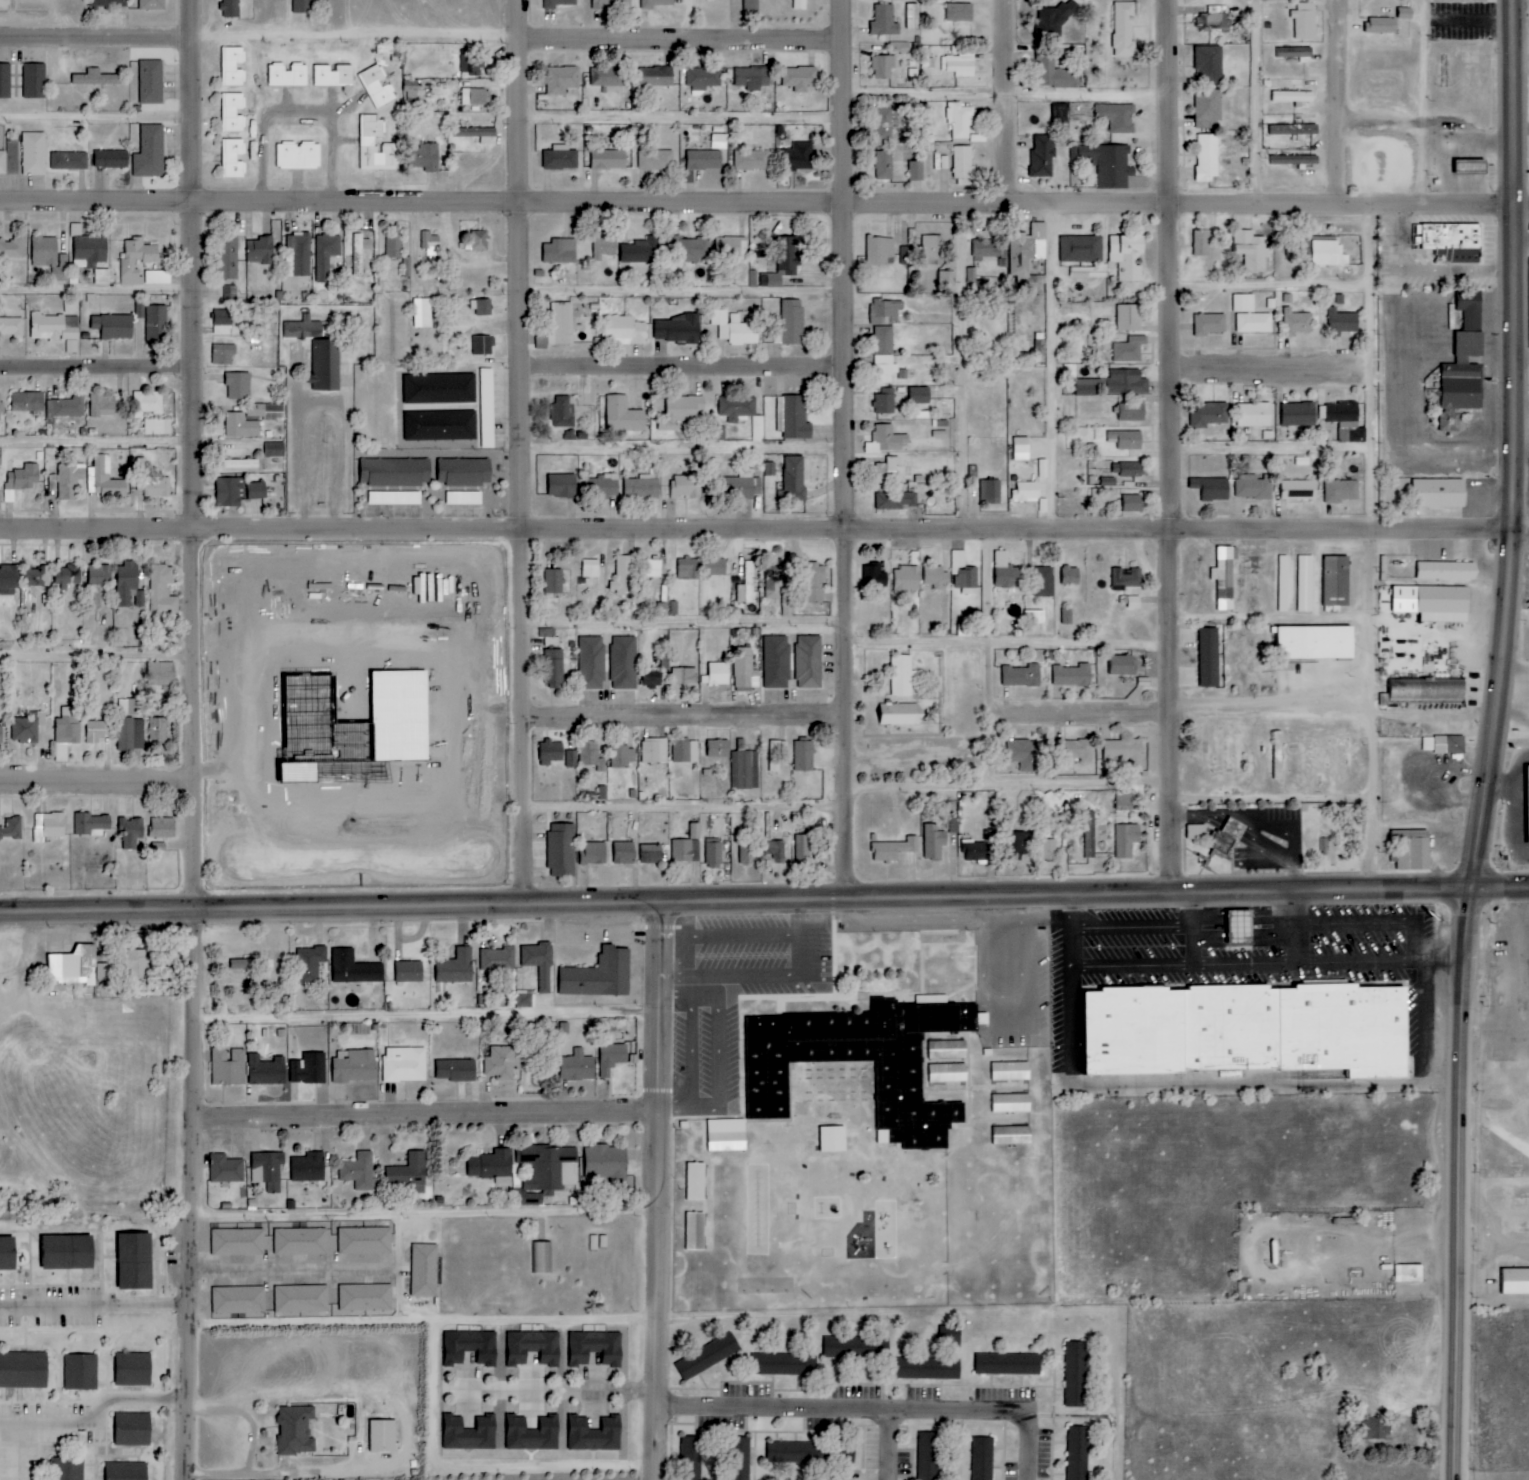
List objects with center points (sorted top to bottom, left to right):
building: (1445, 0)
building: (104, 2)
building: (557, 3)
building: (3, 4)
building: (607, 4)
building: (655, 4)
building: (151, 5)
building: (799, 5)
building: (303, 6)
building: (751, 8)
building: (231, 9)
building: (960, 12)
building: (1405, 13)
building: (912, 16)
building: (1215, 19)
road: (697, 20)
road: (850, 21)
building: (884, 21)
building: (1056, 21)
building: (1304, 22)
building: (1381, 26)
building: (1124, 29)
road: (356, 33)
road: (94, 36)
building: (1394, 37)
road: (687, 39)
building: (1295, 53)
building: (471, 60)
building: (1209, 63)
building: (959, 65)
building: (232, 67)
building: (883, 67)
building: (332, 75)
building: (1053, 75)
building: (287, 76)
building: (606, 76)
building: (655, 76)
building: (750, 77)
building: (800, 78)
building: (95, 79)
building: (703, 79)
building: (561, 80)
building: (34, 81)
building: (5, 82)
building: (150, 82)
building: (377, 87)
building: (411, 90)
building: (473, 97)
road: (1007, 97)
building: (1293, 97)
road: (1342, 101)
road: (1004, 102)
road: (1255, 102)
road: (1429, 102)
building: (1207, 107)
building: (231, 113)
road: (307, 114)
building: (1060, 114)
road: (94, 117)
building: (1117, 118)
building: (887, 119)
building: (960, 120)
road: (1432, 128)
building: (1291, 130)
building: (476, 134)
building: (367, 141)
building: (719, 141)
building: (799, 150)
building: (149, 152)
building: (33, 154)
building: (298, 156)
building: (1042, 157)
building: (1207, 157)
building: (560, 158)
building: (110, 159)
building: (232, 159)
building: (606, 159)
building: (702, 159)
building: (749, 159)
building: (655, 160)
building: (1292, 160)
building: (68, 161)
building: (2, 163)
building: (963, 163)
building: (1107, 164)
building: (884, 165)
building: (916, 171)
road: (764, 204)
building: (478, 240)
building: (1450, 241)
building: (1201, 243)
building: (430, 244)
building: (393, 245)
building: (604, 246)
building: (731, 247)
building: (11, 248)
building: (695, 249)
building: (984, 249)
building: (1081, 249)
building: (1251, 249)
building: (260, 250)
building: (880, 250)
building: (930, 250)
building: (1025, 250)
building: (44, 251)
building: (89, 251)
building: (560, 251)
building: (640, 251)
building: (359, 252)
building: (1326, 252)
building: (297, 254)
building: (325, 255)
building: (1127, 256)
building: (228, 257)
building: (135, 260)
building: (785, 261)
building: (1090, 271)
building: (101, 276)
building: (157, 277)
building: (946, 279)
building: (972, 281)
road: (1269, 285)
road: (94, 290)
building: (230, 292)
road: (688, 294)
building: (1243, 303)
building: (481, 306)
building: (1470, 307)
building: (885, 311)
building: (422, 313)
building: (1128, 317)
building: (792, 321)
building: (1254, 322)
building: (1342, 322)
building: (156, 323)
building: (1297, 323)
building: (1209, 324)
building: (112, 326)
building: (222, 326)
building: (11, 327)
building: (54, 327)
building: (559, 327)
building: (303, 328)
building: (734, 328)
building: (676, 329)
building: (623, 331)
building: (883, 340)
building: (483, 345)
building: (1129, 349)
building: (223, 354)
building: (319, 365)
road: (95, 366)
road: (959, 366)
road: (1049, 366)
building: (334, 367)
road: (690, 368)
building: (884, 368)
road: (1270, 369)
building: (1462, 381)
building: (1126, 382)
building: (238, 386)
building: (1086, 387)
building: (919, 395)
building: (26, 402)
building: (884, 403)
building: (147, 404)
building: (101, 405)
building: (67, 406)
building: (440, 407)
building: (486, 408)
building: (0, 410)
building: (266, 411)
building: (680, 411)
building: (563, 412)
building: (1131, 412)
building: (742, 413)
building: (1208, 413)
building: (1254, 414)
building: (1299, 414)
building: (623, 416)
building: (795, 418)
building: (1346, 419)
building: (241, 426)
building: (157, 427)
road: (468, 430)
building: (1126, 439)
building: (884, 440)
road: (95, 441)
road: (1269, 447)
road: (1168, 448)
building: (1021, 449)
building: (274, 450)
road: (529, 450)
road: (690, 450)
building: (240, 464)
building: (770, 469)
building: (887, 469)
building: (1127, 469)
road: (852, 470)
building: (395, 472)
building: (464, 472)
building: (107, 479)
building: (69, 480)
building: (793, 480)
building: (20, 481)
building: (562, 485)
building: (602, 485)
building: (153, 486)
building: (686, 486)
building: (738, 487)
building: (1253, 487)
building: (641, 488)
building: (1212, 488)
building: (1298, 489)
building: (256, 490)
building: (1342, 490)
building: (990, 491)
building: (229, 492)
building: (1026, 492)
building: (1439, 493)
building: (394, 498)
building: (464, 498)
building: (896, 500)
building: (1132, 503)
road: (764, 530)
road: (1371, 547)
road: (1517, 559)
building: (714, 567)
building: (591, 568)
building: (688, 568)
building: (652, 569)
building: (963, 571)
building: (1006, 571)
building: (1447, 571)
building: (67, 575)
building: (100, 575)
building: (620, 575)
building: (36, 576)
building: (874, 576)
building: (936, 576)
building: (1070, 576)
building: (1126, 577)
building: (1224, 578)
building: (905, 579)
building: (8, 580)
building: (553, 581)
building: (773, 581)
building: (1044, 582)
building: (814, 583)
building: (1304, 583)
building: (1336, 583)
building: (128, 585)
building: (746, 585)
building: (162, 590)
building: (1134, 602)
building: (1433, 603)
building: (787, 604)
building: (1066, 616)
building: (1035, 617)
road: (1270, 621)
road: (691, 625)
building: (548, 637)
building: (1316, 642)
road: (1011, 644)
road: (95, 656)
road: (988, 657)
building: (1209, 658)
building: (623, 662)
building: (776, 662)
building: (808, 662)
building: (591, 663)
building: (1121, 665)
building: (553, 668)
building: (744, 669)
building: (160, 674)
building: (716, 674)
building: (1072, 675)
building: (684, 676)
building: (902, 676)
building: (1021, 676)
building: (651, 678)
building: (1426, 690)
building: (134, 707)
building: (900, 714)
road: (1180, 714)
road: (692, 716)
building: (67, 726)
building: (27, 728)
building: (158, 729)
building: (98, 730)
building: (1, 735)
building: (131, 735)
road: (190, 740)
building: (1428, 744)
building: (1450, 745)
building: (718, 749)
building: (1074, 750)
building: (1123, 750)
building: (654, 751)
building: (550, 752)
building: (685, 752)
building: (621, 755)
building: (776, 755)
building: (1024, 755)
building: (590, 756)
building: (804, 756)
building: (1278, 757)
building: (571, 759)
building: (1343, 764)
building: (744, 770)
road: (95, 780)
building: (808, 783)
road: (1010, 784)
building: (1124, 800)
road: (691, 811)
building: (89, 824)
building: (954, 825)
building: (48, 827)
building: (11, 828)
building: (162, 828)
building: (131, 832)
building: (1196, 832)
building: (1089, 835)
building: (1227, 837)
building: (1126, 840)
building: (934, 841)
building: (687, 847)
building: (1014, 847)
building: (802, 848)
building: (561, 850)
building: (776, 850)
building: (894, 850)
building: (1049, 850)
building: (1412, 850)
building: (623, 852)
building: (746, 852)
building: (593, 853)
building: (651, 854)
building: (714, 856)
road: (764, 898)
road: (797, 916)
road: (686, 918)
road: (1134, 927)
building: (1241, 928)
road: (1194, 931)
road: (744, 934)
road: (798, 952)
road: (691, 956)
building: (497, 959)
building: (255, 963)
road: (680, 963)
building: (239, 964)
building: (310, 964)
building: (539, 964)
building: (137, 965)
road: (1273, 965)
building: (73, 967)
building: (456, 967)
building: (354, 968)
building: (409, 972)
building: (599, 975)
road: (734, 975)
road: (693, 995)
road: (433, 1018)
building: (1248, 1030)
road: (691, 1042)
building: (947, 1050)
building: (611, 1058)
building: (502, 1063)
building: (404, 1065)
building: (354, 1066)
building: (228, 1067)
building: (577, 1067)
road: (721, 1067)
building: (308, 1069)
building: (455, 1070)
building: (266, 1071)
building: (1011, 1071)
building: (948, 1073)
building: (899, 1083)
road: (1180, 1085)
building: (1011, 1103)
road: (433, 1115)
building: (726, 1135)
building: (1011, 1135)
building: (833, 1139)
building: (605, 1162)
building: (308, 1167)
building: (492, 1167)
building: (549, 1167)
building: (225, 1169)
building: (267, 1170)
building: (358, 1171)
building: (408, 1173)
building: (695, 1181)
road: (1497, 1182)
road: (666, 1189)
road: (432, 1215)
building: (695, 1231)
building: (300, 1241)
building: (364, 1241)
building: (237, 1242)
building: (67, 1253)
building: (7, 1254)
building: (541, 1257)
building: (134, 1262)
road: (289, 1270)
building: (424, 1270)
building: (1408, 1273)
building: (1516, 1282)
building: (364, 1298)
road: (1465, 1298)
building: (301, 1299)
building: (238, 1300)
road: (98, 1310)
road: (553, 1321)
building: (593, 1328)
building: (470, 1347)
building: (533, 1347)
building: (845, 1347)
building: (595, 1348)
building: (707, 1356)
building: (783, 1364)
building: (1008, 1364)
building: (928, 1368)
building: (23, 1370)
building: (131, 1370)
building: (80, 1372)
building: (1075, 1374)
road: (558, 1390)
road: (883, 1408)
road: (98, 1417)
building: (131, 1429)
building: (1375, 1429)
building: (295, 1430)
building: (532, 1434)
building: (594, 1434)
building: (382, 1435)
road: (896, 1444)
road: (261, 1447)
road: (17, 1452)
building: (794, 1453)
building: (1078, 1453)
building: (928, 1456)
building: (691, 1458)
building: (982, 1458)
road: (555, 1467)
building: (66, 1468)
building: (125, 1471)

